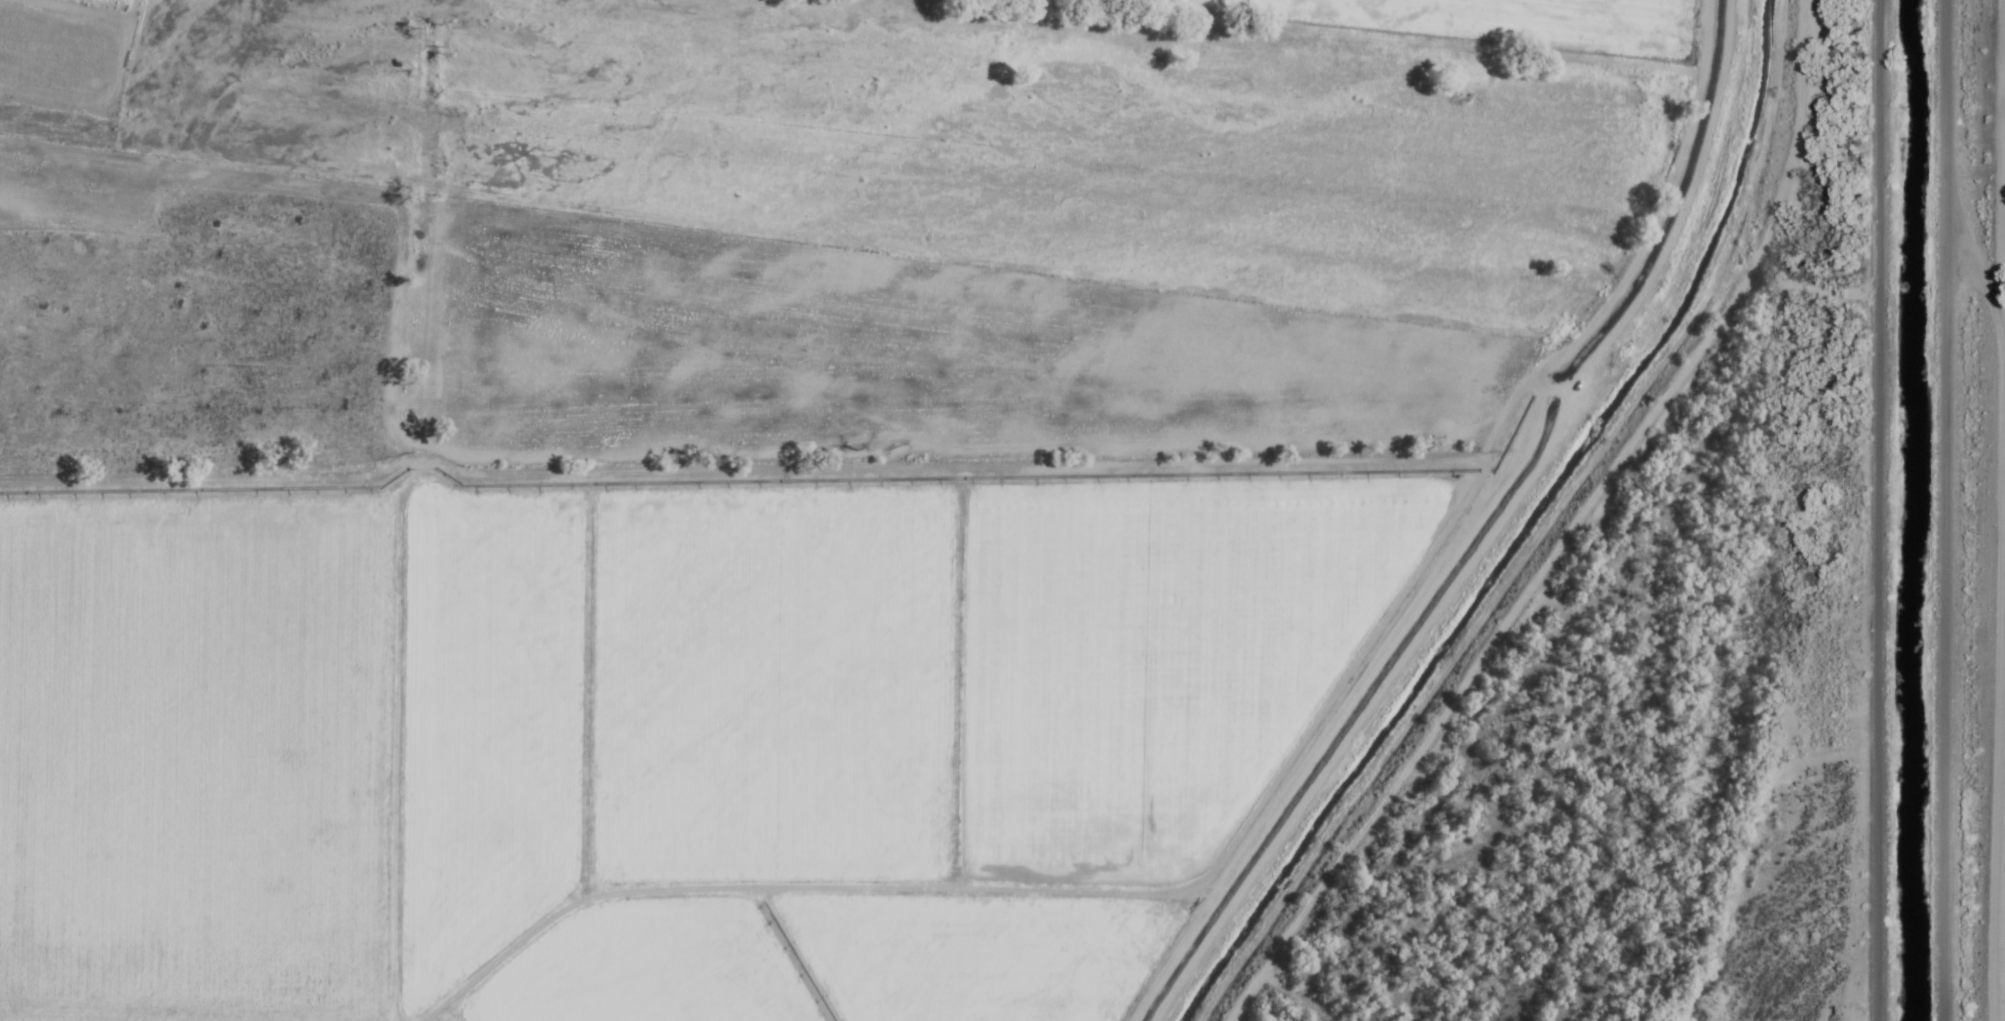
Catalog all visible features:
road: (1878, 510)
road: (1993, 510)
road: (1471, 526)

